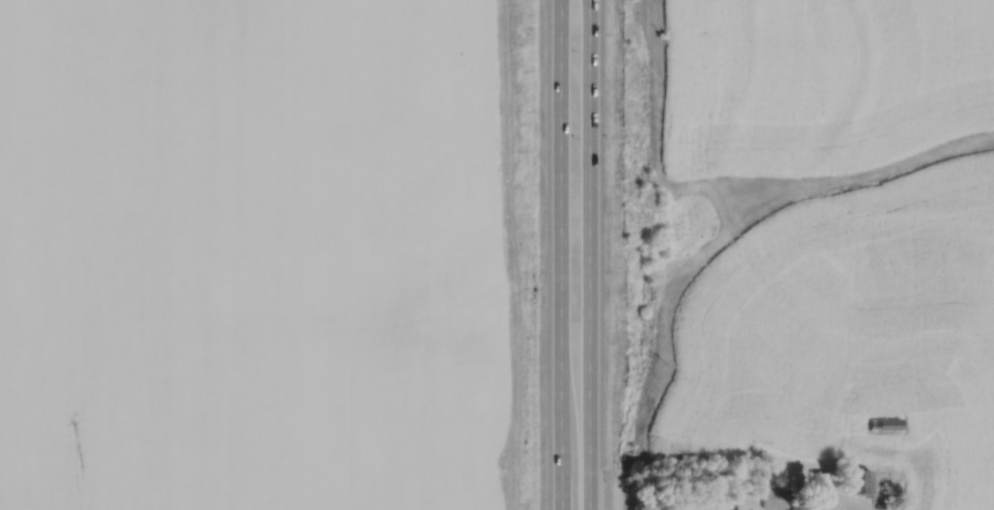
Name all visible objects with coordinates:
road: (558, 255)
road: (586, 255)
building: (885, 423)
building: (820, 482)
building: (860, 482)
building: (776, 498)
road: (817, 509)

